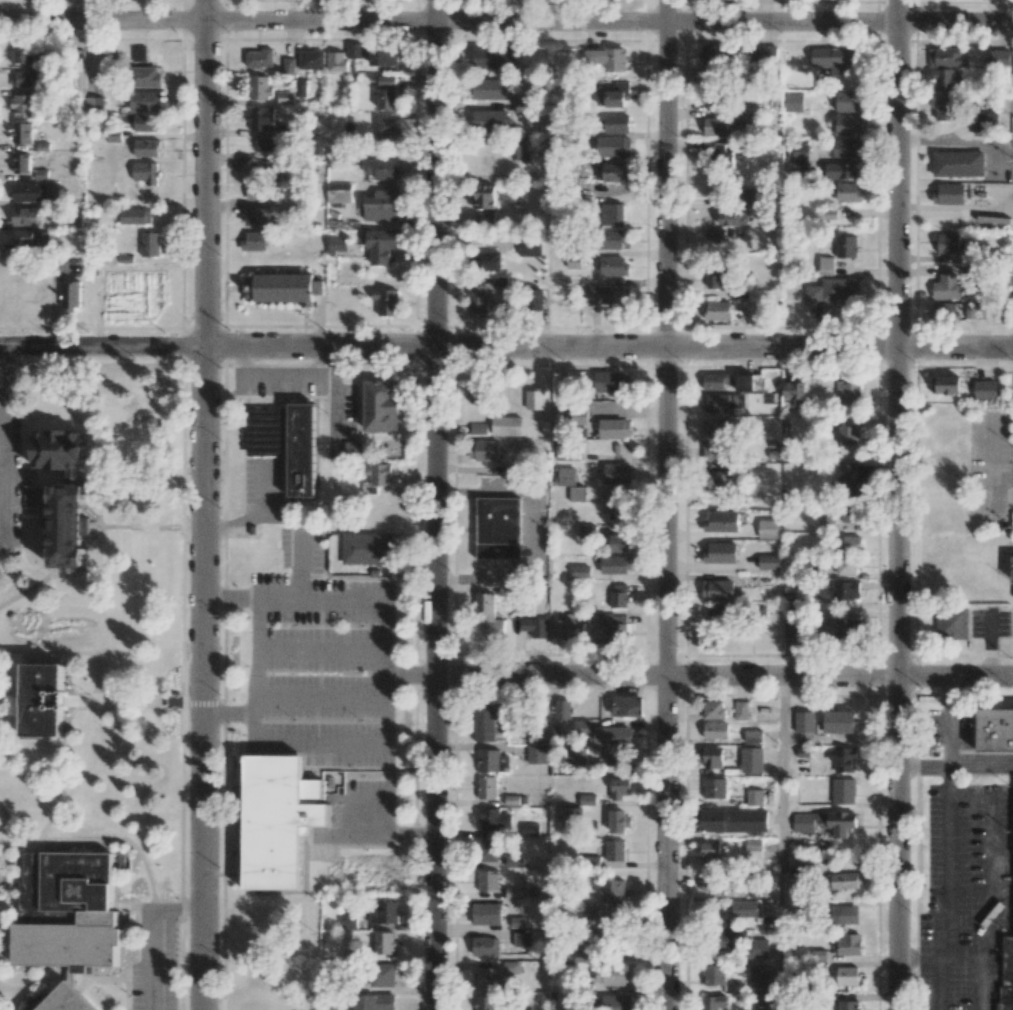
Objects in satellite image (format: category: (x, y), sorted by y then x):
road: (506, 18)
building: (355, 50)
building: (137, 52)
building: (21, 53)
building: (513, 55)
building: (713, 55)
building: (767, 55)
building: (381, 56)
building: (947, 57)
building: (259, 58)
building: (490, 58)
building: (607, 58)
building: (997, 58)
building: (311, 59)
building: (834, 59)
building: (336, 61)
building: (288, 65)
building: (102, 66)
building: (144, 77)
building: (711, 77)
building: (25, 79)
building: (945, 79)
building: (260, 88)
building: (301, 88)
building: (490, 89)
building: (386, 92)
building: (613, 95)
building: (285, 97)
building: (144, 101)
building: (713, 101)
building: (793, 101)
building: (849, 101)
building: (93, 104)
building: (523, 105)
building: (21, 106)
building: (945, 108)
building: (751, 115)
building: (261, 118)
building: (490, 120)
building: (146, 123)
building: (614, 123)
building: (985, 123)
building: (849, 125)
building: (388, 126)
building: (717, 126)
building: (21, 133)
building: (267, 145)
building: (614, 147)
building: (845, 147)
building: (146, 148)
building: (520, 148)
building: (800, 151)
building: (718, 152)
building: (22, 163)
building: (958, 163)
building: (799, 165)
building: (382, 168)
building: (263, 169)
building: (841, 170)
building: (615, 172)
building: (146, 173)
building: (26, 192)
building: (259, 192)
building: (848, 192)
building: (338, 193)
building: (949, 194)
building: (483, 196)
building: (382, 205)
building: (612, 214)
building: (829, 214)
building: (25, 216)
building: (135, 216)
building: (258, 217)
building: (484, 217)
building: (733, 218)
building: (714, 235)
building: (31, 238)
building: (611, 239)
building: (254, 240)
building: (949, 243)
building: (150, 244)
building: (338, 245)
building: (381, 245)
building: (529, 247)
building: (846, 247)
building: (574, 262)
building: (825, 265)
building: (613, 266)
building: (719, 278)
building: (947, 287)
building: (283, 288)
building: (833, 291)
building: (607, 295)
building: (65, 300)
building: (477, 300)
building: (534, 300)
building: (386, 301)
building: (717, 310)
building: (943, 311)
road: (437, 336)
road: (506, 350)
road: (7, 379)
building: (611, 382)
building: (719, 382)
parking lot: (277, 383)
building: (745, 383)
building: (945, 385)
building: (793, 390)
building: (985, 390)
building: (475, 392)
building: (848, 392)
building: (534, 399)
building: (722, 403)
road: (61, 405)
building: (381, 407)
building: (506, 425)
building: (614, 429)
building: (848, 435)
building: (715, 439)
building: (287, 443)
building: (353, 448)
building: (61, 450)
building: (484, 450)
building: (566, 450)
road: (993, 469)
building: (380, 474)
building: (616, 474)
building: (564, 476)
road: (7, 477)
building: (850, 479)
building: (716, 481)
parking lot: (10, 483)
parking lot: (263, 491)
building: (577, 494)
building: (613, 502)
road: (669, 504)
road: (206, 505)
road: (900, 505)
road: (1003, 506)
building: (848, 514)
road: (259, 517)
building: (721, 521)
building: (71, 522)
building: (826, 523)
building: (499, 527)
building: (768, 529)
building: (587, 531)
road: (4, 543)
building: (618, 543)
building: (851, 543)
building: (367, 548)
building: (721, 552)
building: (769, 562)
building: (616, 564)
road: (297, 565)
building: (846, 566)
building: (1012, 568)
road: (49, 570)
building: (581, 571)
road: (100, 581)
road: (28, 589)
building: (718, 590)
building: (845, 590)
building: (619, 595)
road: (231, 599)
building: (718, 614)
building: (489, 618)
road: (990, 621)
parking lot: (991, 622)
building: (953, 624)
building: (562, 625)
building: (794, 626)
building: (536, 627)
building: (616, 627)
building: (845, 627)
road: (320, 650)
road: (49, 653)
road: (990, 658)
parking lot: (318, 659)
road: (411, 673)
road: (725, 676)
road: (12, 698)
road: (319, 698)
building: (44, 701)
building: (175, 701)
road: (81, 702)
building: (627, 706)
building: (562, 709)
building: (714, 709)
building: (740, 710)
road: (229, 716)
building: (804, 722)
building: (838, 722)
road: (950, 722)
building: (483, 724)
building: (515, 724)
building: (530, 730)
building: (715, 730)
building: (995, 730)
building: (753, 736)
building: (609, 739)
road: (382, 745)
building: (536, 754)
building: (576, 755)
building: (713, 758)
building: (844, 759)
building: (752, 760)
building: (492, 761)
road: (937, 766)
road: (981, 766)
building: (486, 788)
building: (620, 788)
building: (715, 788)
building: (844, 791)
building: (754, 797)
building: (587, 799)
building: (572, 816)
building: (493, 819)
building: (734, 820)
building: (619, 821)
building: (803, 822)
building: (837, 822)
building: (280, 823)
road: (12, 825)
building: (530, 830)
road: (98, 840)
road: (437, 841)
road: (782, 843)
building: (753, 848)
building: (487, 850)
building: (615, 850)
building: (711, 854)
building: (513, 861)
building: (842, 880)
building: (488, 881)
road: (992, 882)
building: (708, 886)
building: (612, 891)
building: (513, 893)
road: (948, 902)
building: (745, 909)
building: (383, 912)
road: (179, 913)
building: (486, 913)
building: (72, 914)
building: (846, 915)
building: (348, 921)
building: (518, 922)
building: (521, 939)
building: (1008, 939)
building: (727, 940)
building: (384, 943)
building: (846, 944)
building: (485, 946)
building: (757, 948)
building: (582, 950)
road: (938, 955)
parking lot: (155, 958)
road: (155, 962)
building: (714, 974)
building: (379, 976)
building: (612, 976)
building: (847, 976)
building: (254, 977)
building: (486, 979)
building: (759, 980)
road: (30, 985)
building: (67, 1000)
building: (374, 1002)
building: (484, 1002)
building: (616, 1002)
building: (713, 1002)
building: (849, 1005)
building: (521, 1008)

